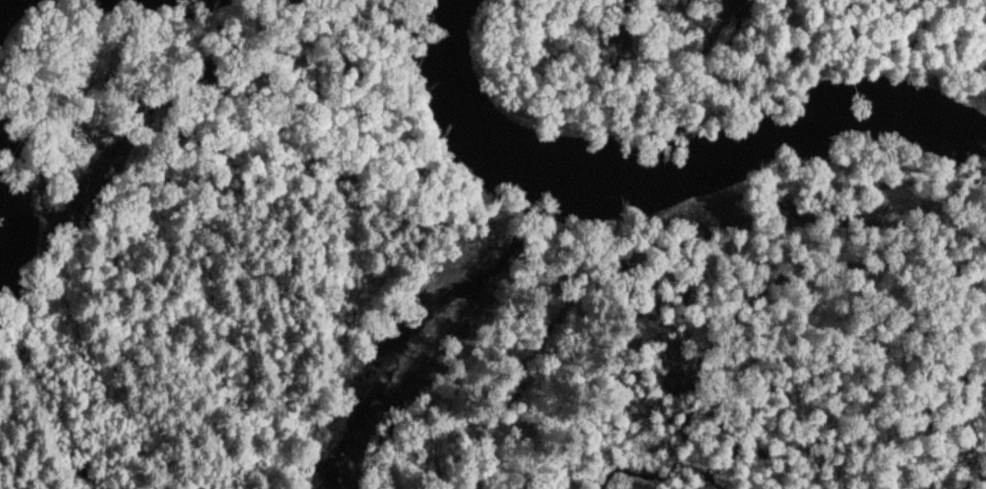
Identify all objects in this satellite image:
river: (661, 173)

